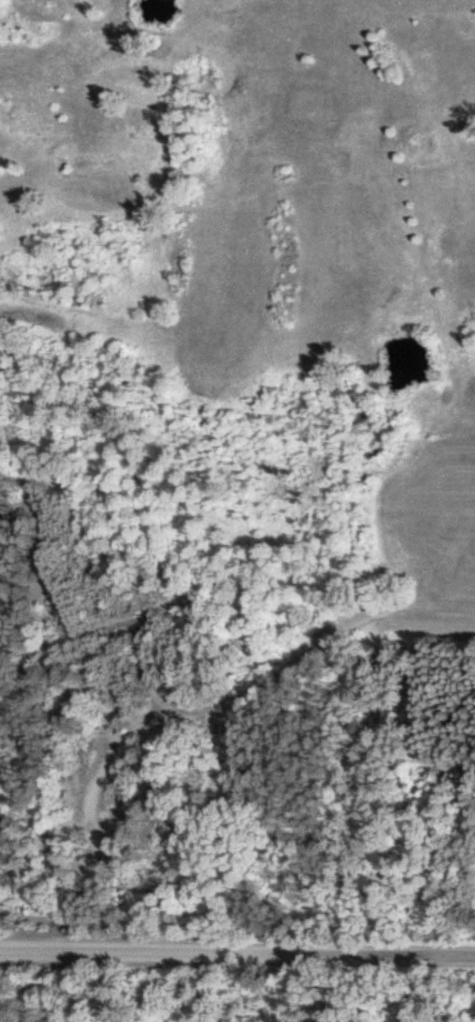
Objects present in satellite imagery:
park: (246, 198)
road: (237, 947)

